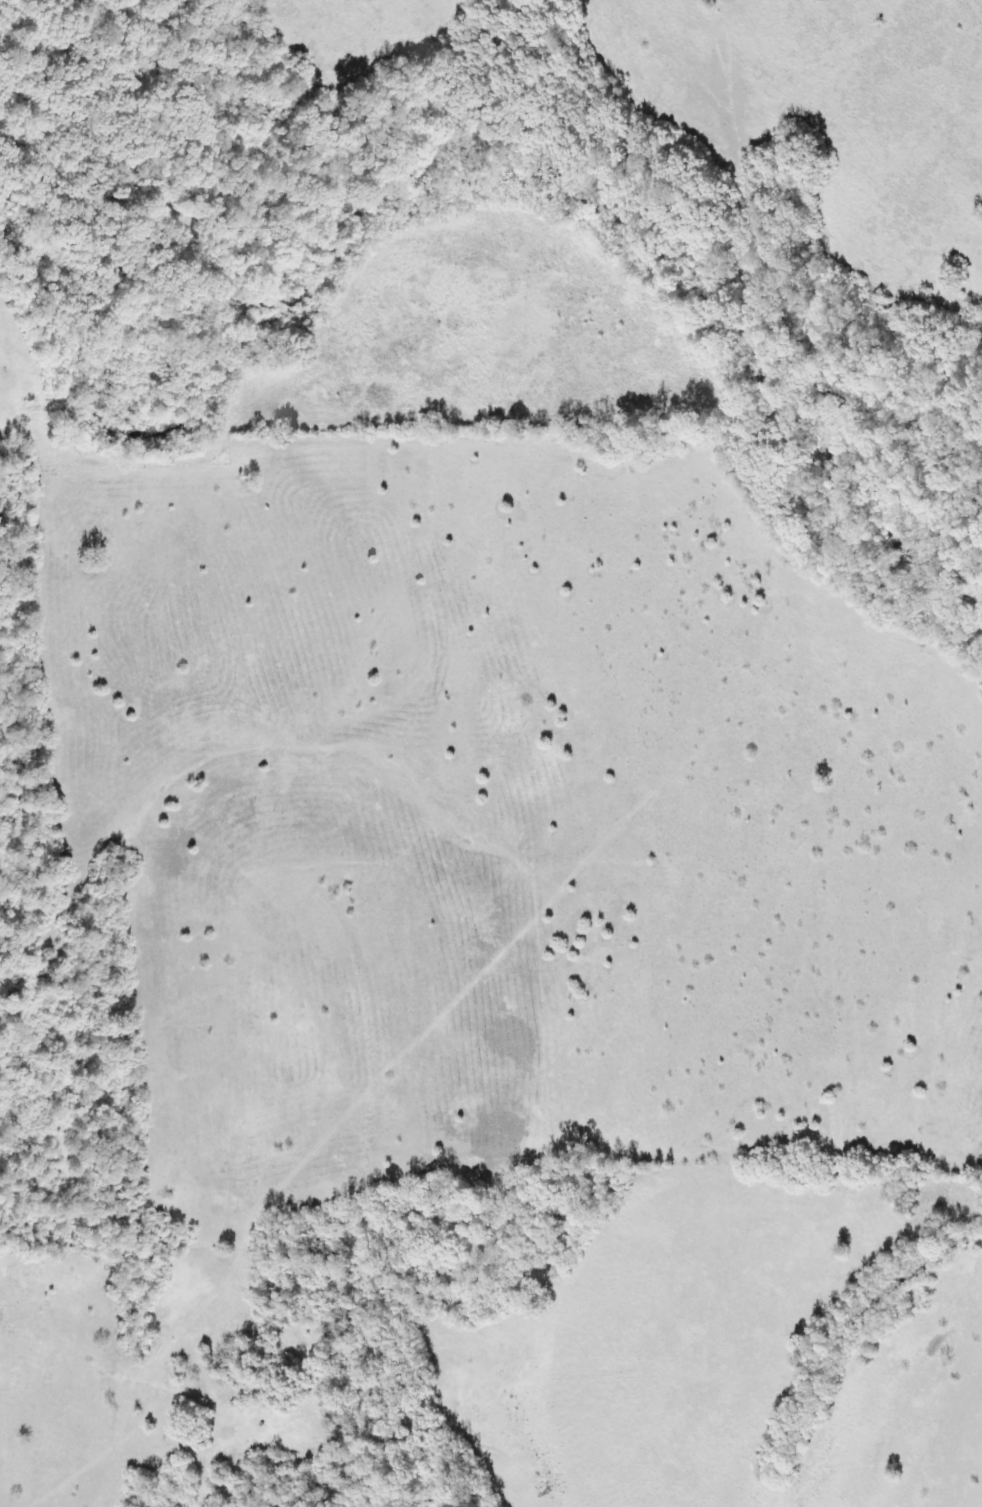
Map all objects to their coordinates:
road: (975, 7)
road: (146, 1394)

